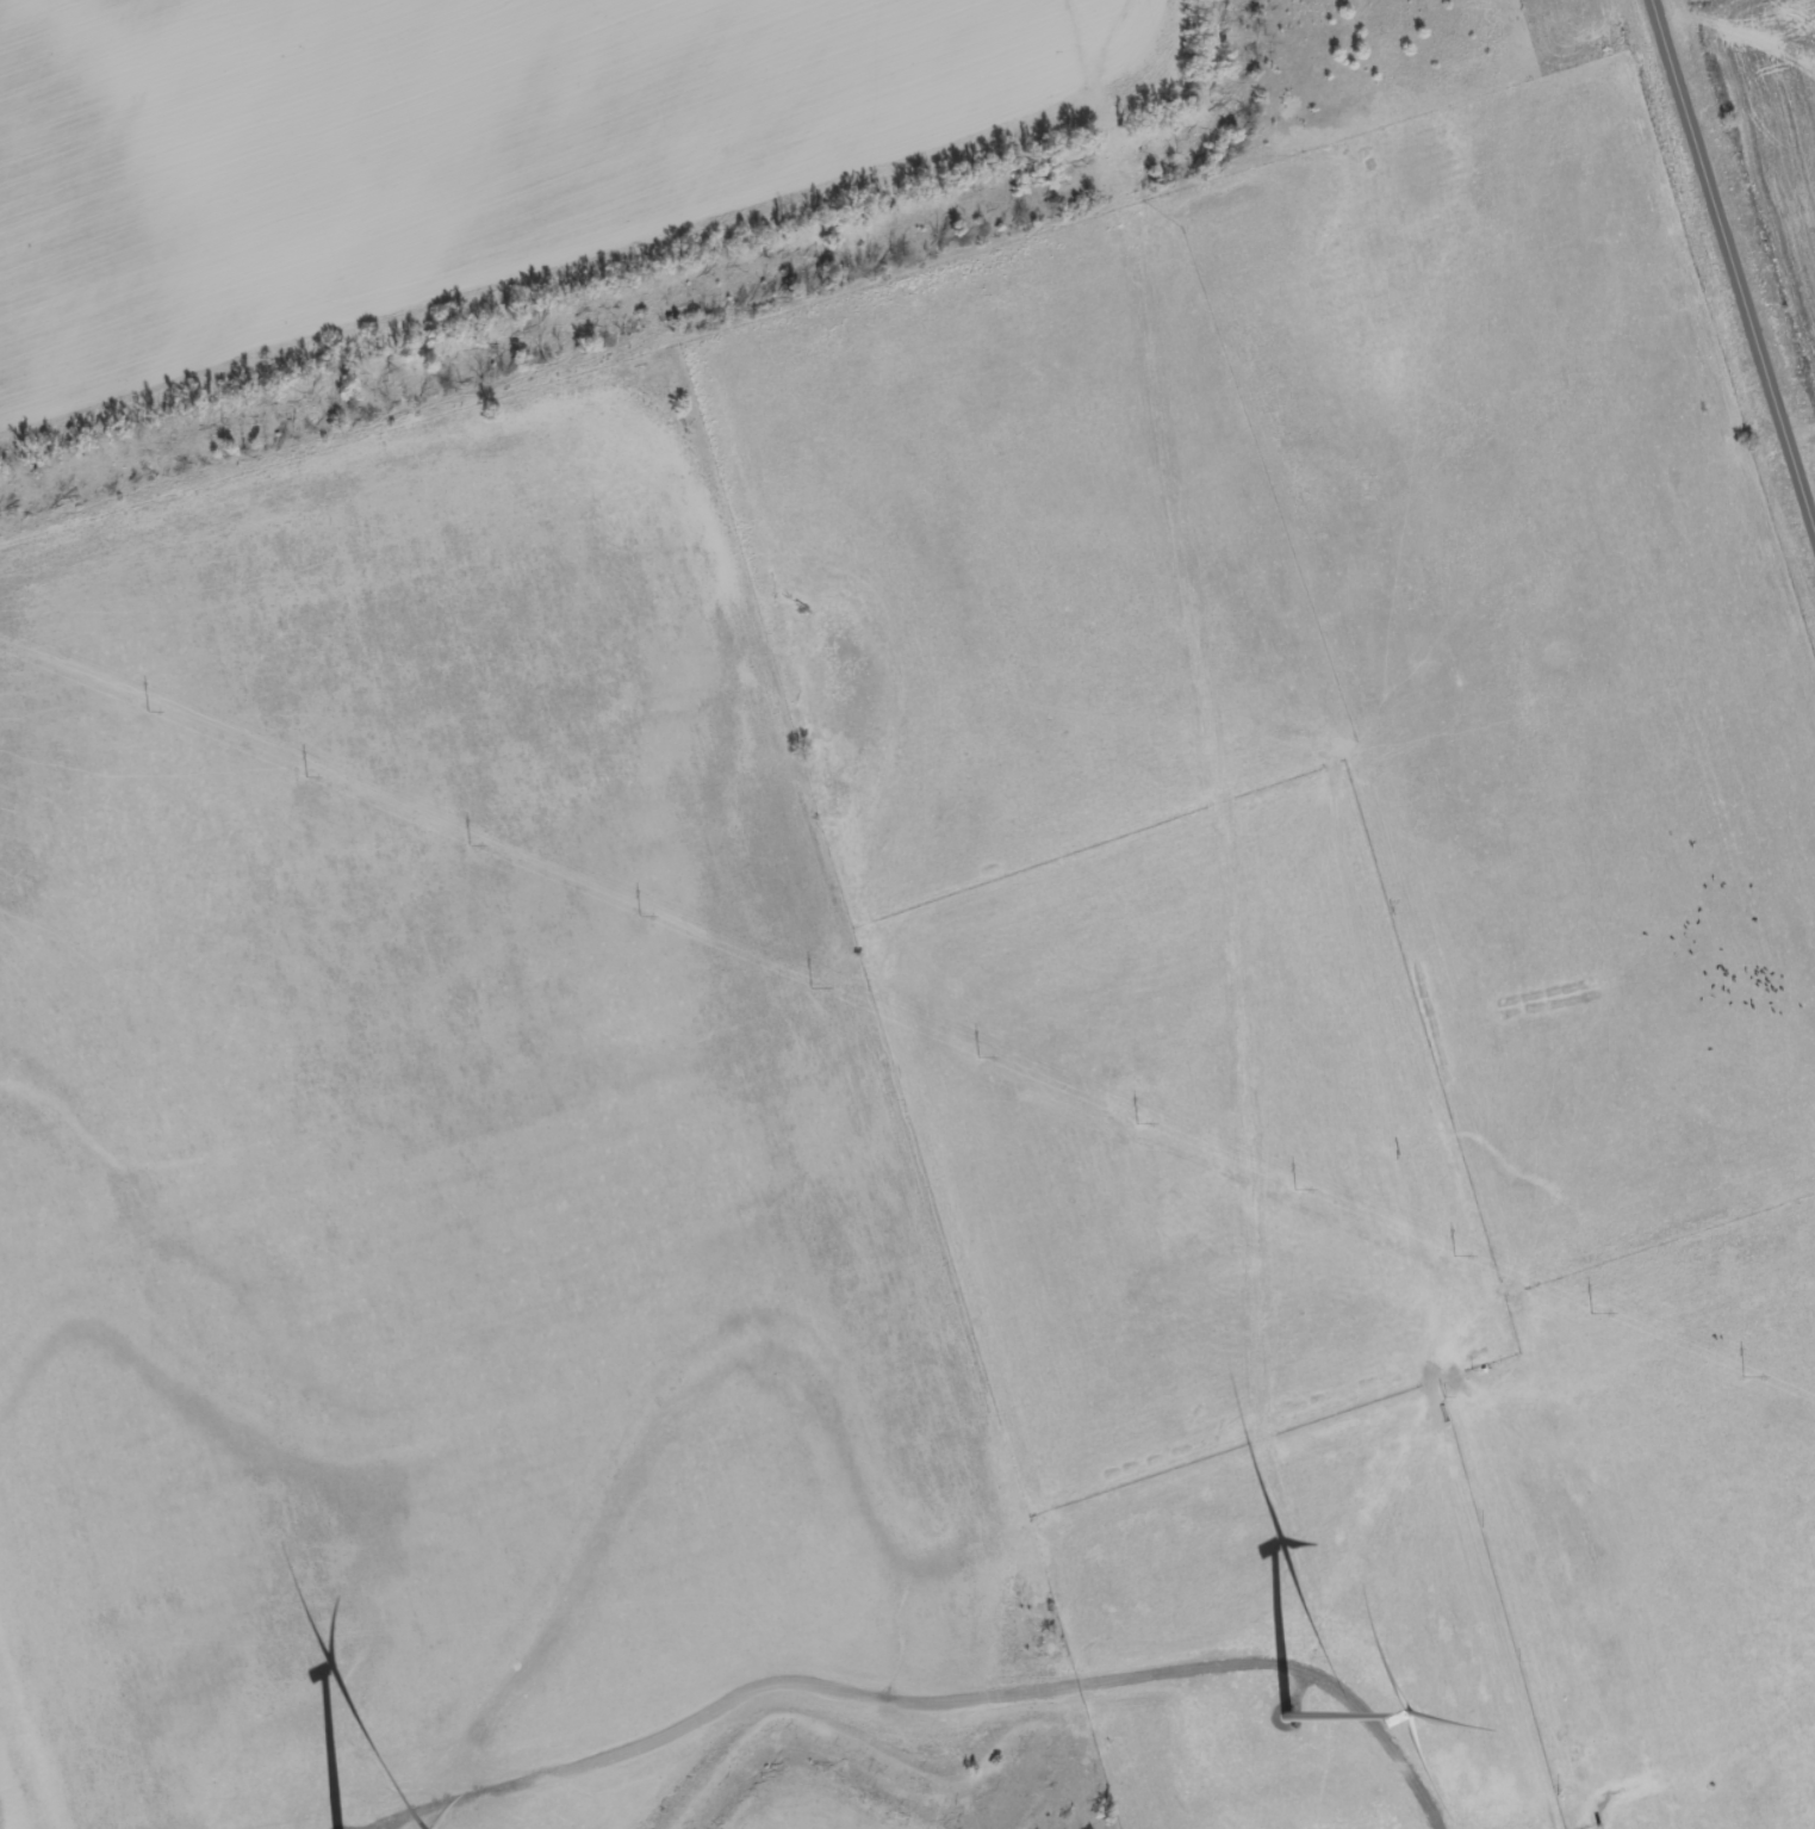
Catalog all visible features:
road: (1735, 261)
wind turbine: (1287, 1730)

